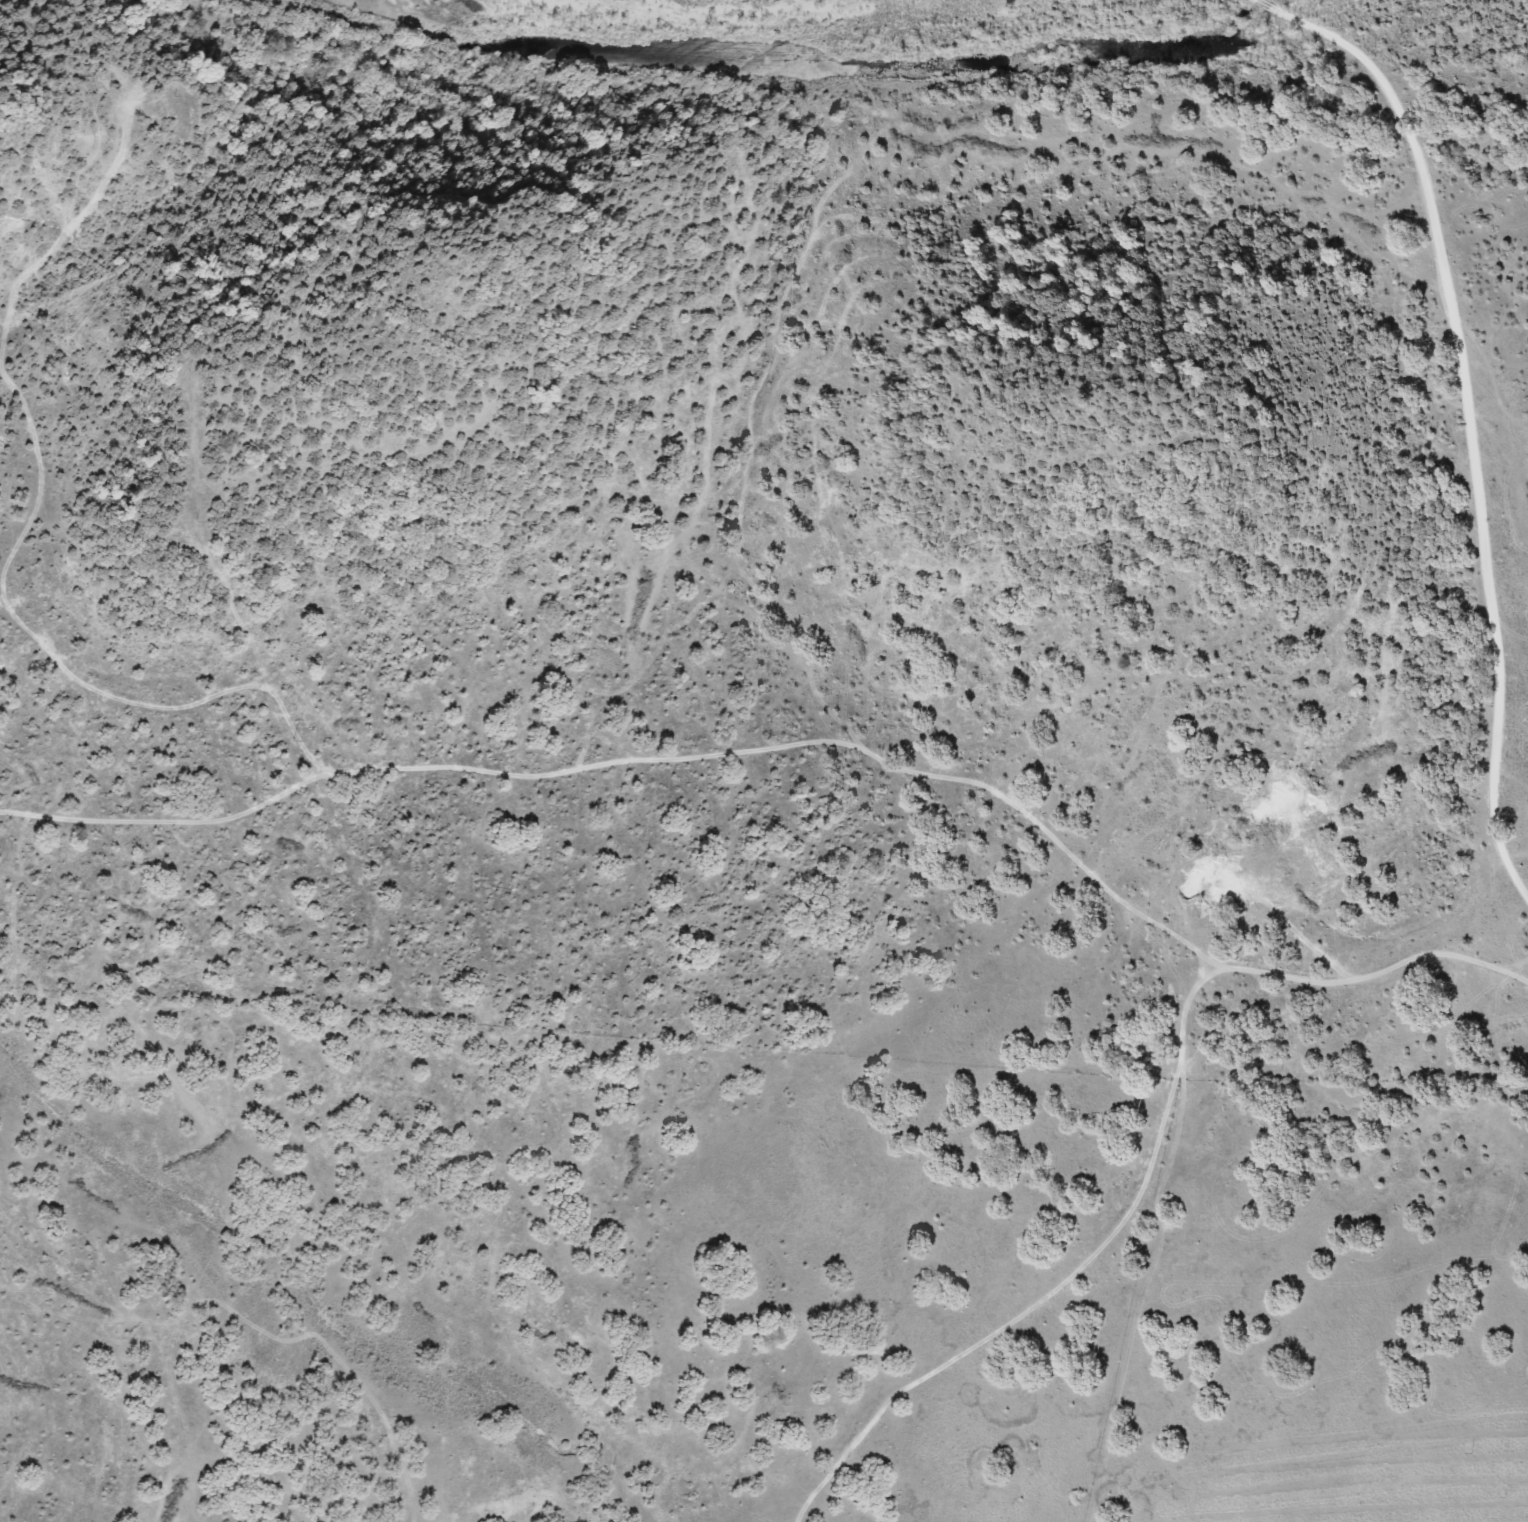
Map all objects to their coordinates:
river: (1252, 21)
river: (802, 49)
road: (1474, 402)
road: (795, 749)

